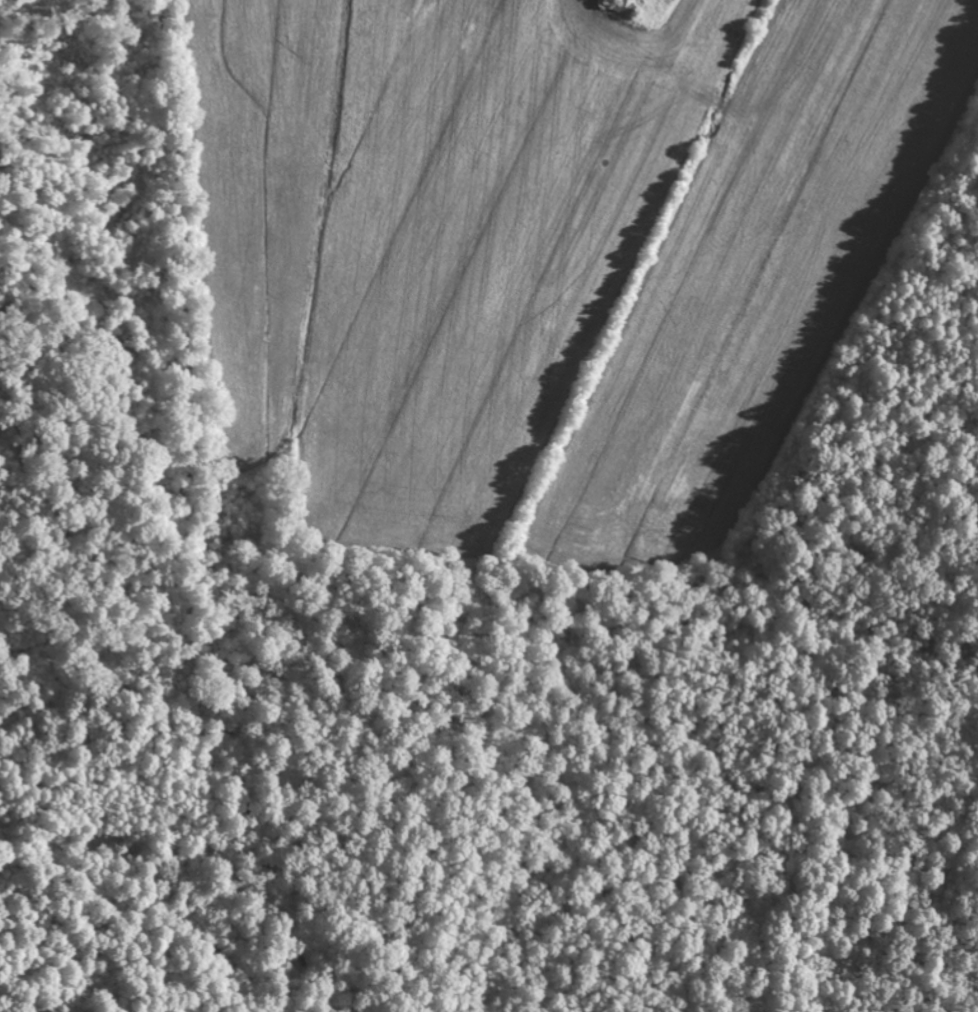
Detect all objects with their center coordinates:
building: (619, 6)

